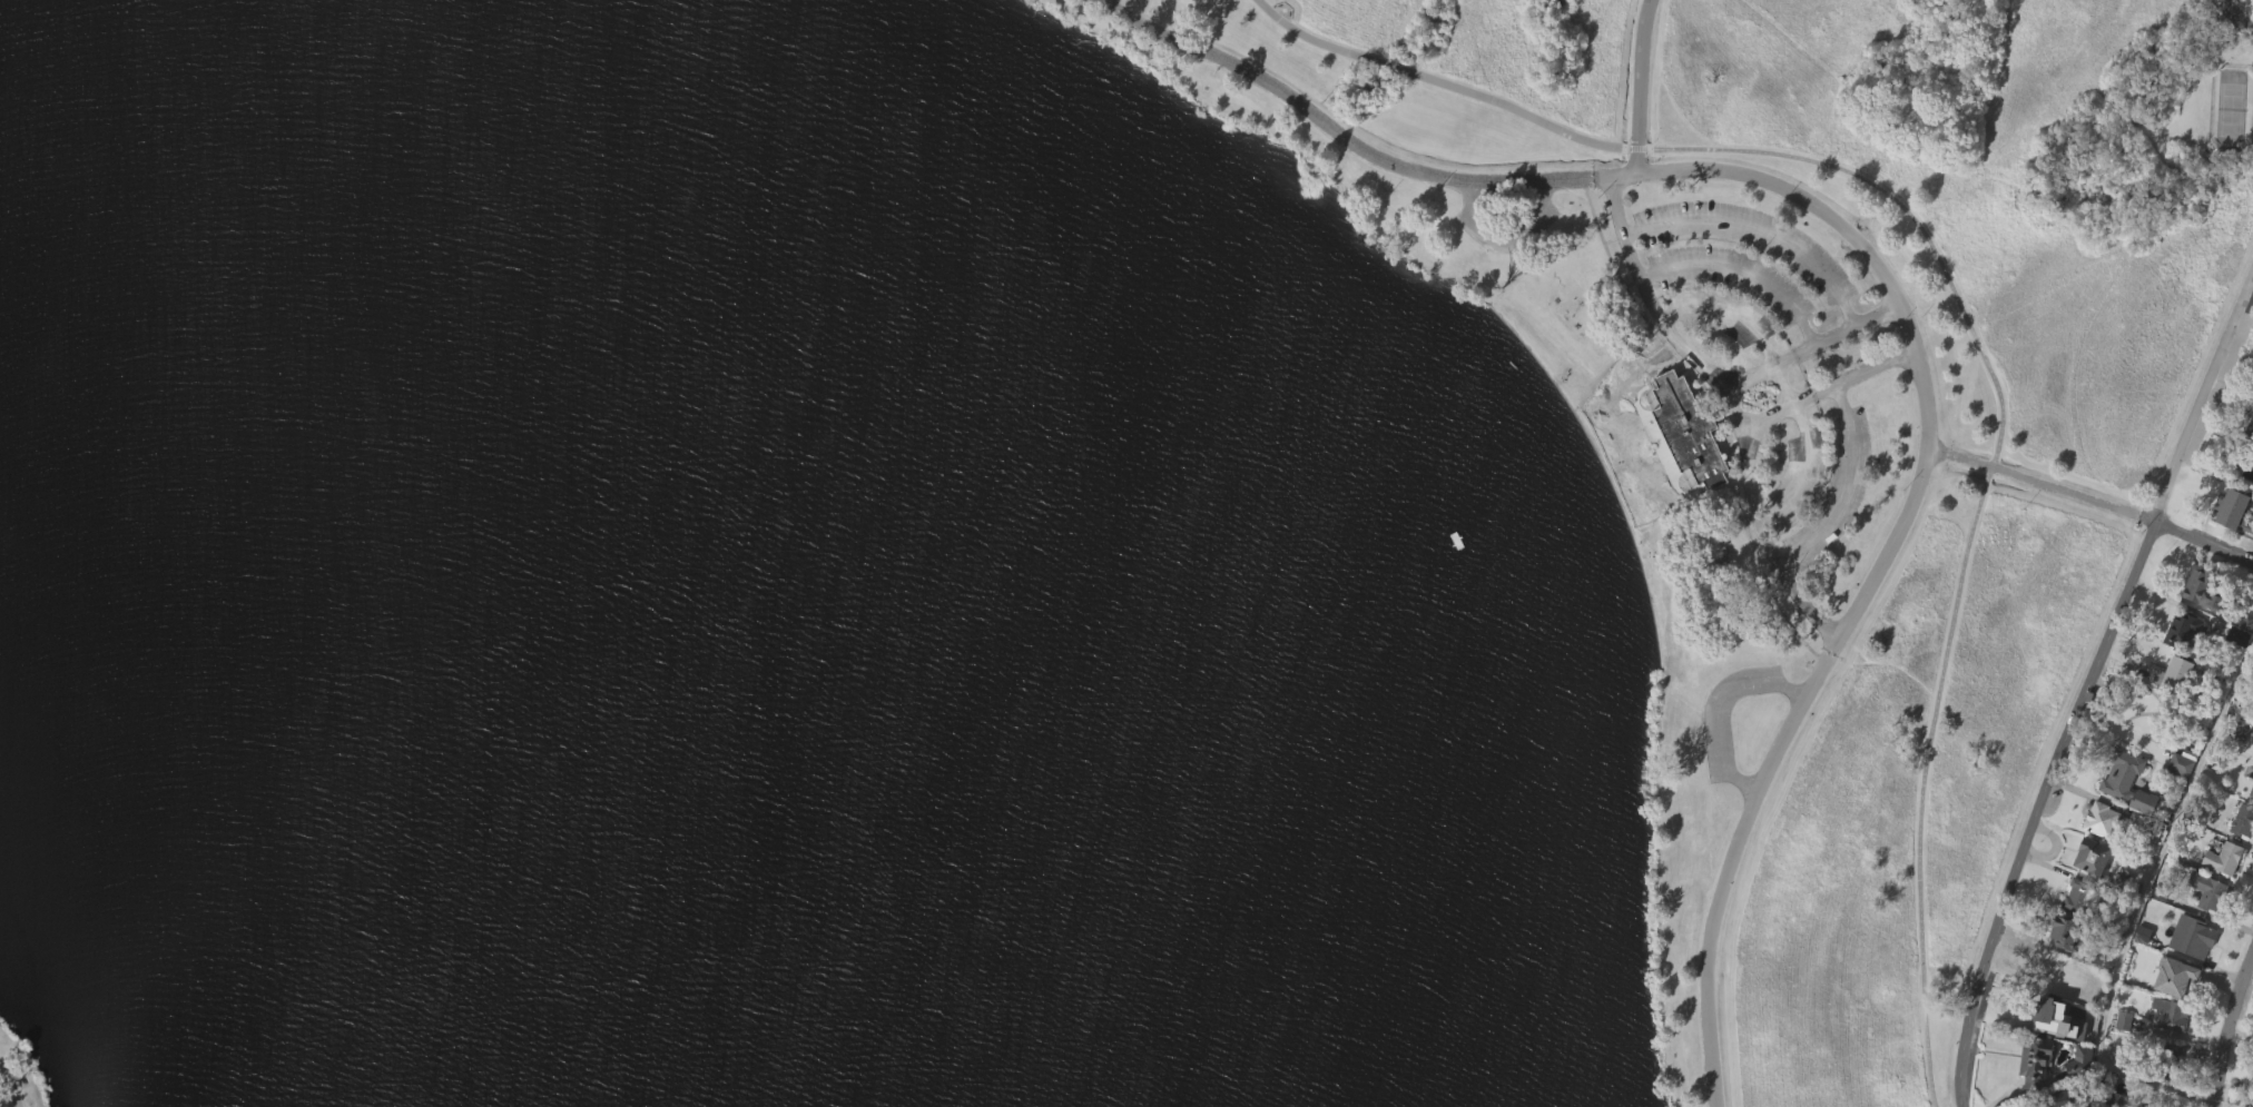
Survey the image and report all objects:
road: (2236, 17)
road: (1641, 87)
road: (1341, 139)
road: (1758, 229)
road: (1740, 268)
parking lot: (1738, 269)
road: (1900, 310)
road: (1962, 312)
road: (1810, 345)
road: (1783, 388)
road: (1826, 388)
road: (1729, 404)
building: (1689, 429)
building: (2251, 431)
building: (1686, 473)
parking lot: (1818, 487)
road: (1842, 490)
road: (2092, 501)
building: (2229, 510)
park: (1057, 536)
building: (2229, 547)
building: (2198, 587)
building: (2246, 616)
building: (2197, 627)
building: (2182, 630)
building: (2252, 669)
building: (2168, 674)
road: (2087, 689)
road: (1718, 711)
building: (2170, 713)
building: (2181, 763)
building: (2122, 774)
building: (2251, 790)
building: (2180, 801)
building: (2118, 813)
building: (2099, 819)
building: (2242, 819)
building: (2139, 826)
building: (2141, 841)
building: (2225, 858)
building: (2241, 859)
road: (1731, 860)
building: (2094, 860)
building: (2212, 892)
building: (2078, 899)
road: (2141, 902)
building: (2207, 931)
building: (2068, 932)
building: (2190, 936)
building: (2062, 971)
building: (2139, 973)
building: (2177, 976)
building: (2047, 1012)
building: (2166, 1015)
road: (2226, 1028)
building: (2035, 1057)
building: (2079, 1059)
building: (2163, 1059)
parking lot: (0, 1070)
road: (10, 1087)
building: (2034, 1093)
building: (2171, 1094)
building: (2072, 1096)
building: (2114, 1100)
road: (2221, 1105)
building: (2143, 1106)

